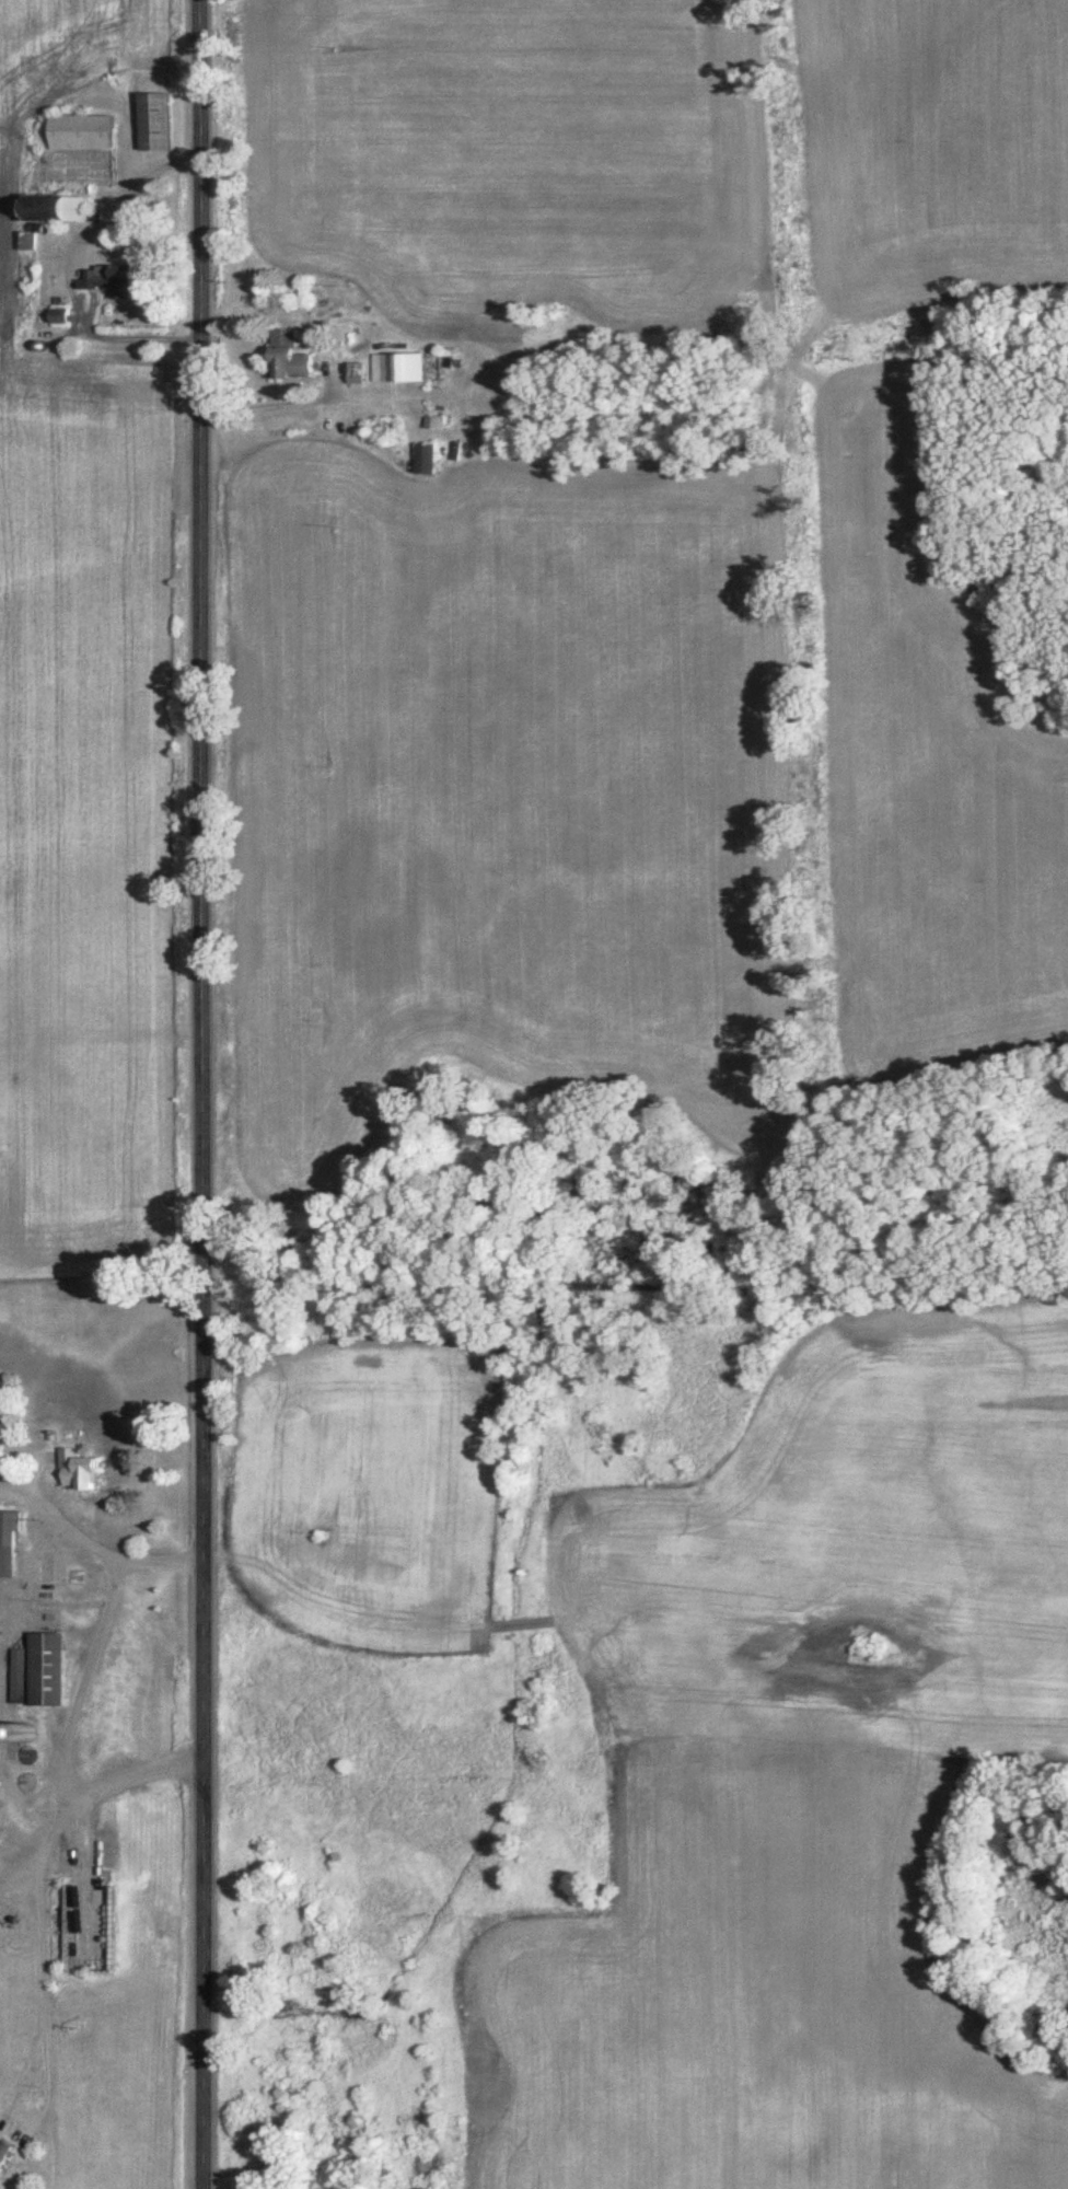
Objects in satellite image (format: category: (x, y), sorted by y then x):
building: (149, 121)
building: (74, 132)
building: (47, 209)
building: (91, 217)
building: (24, 242)
building: (106, 281)
building: (285, 358)
building: (404, 368)
building: (423, 460)
road: (207, 1094)
building: (73, 1470)
building: (7, 1541)
building: (43, 1670)
building: (2, 2150)

